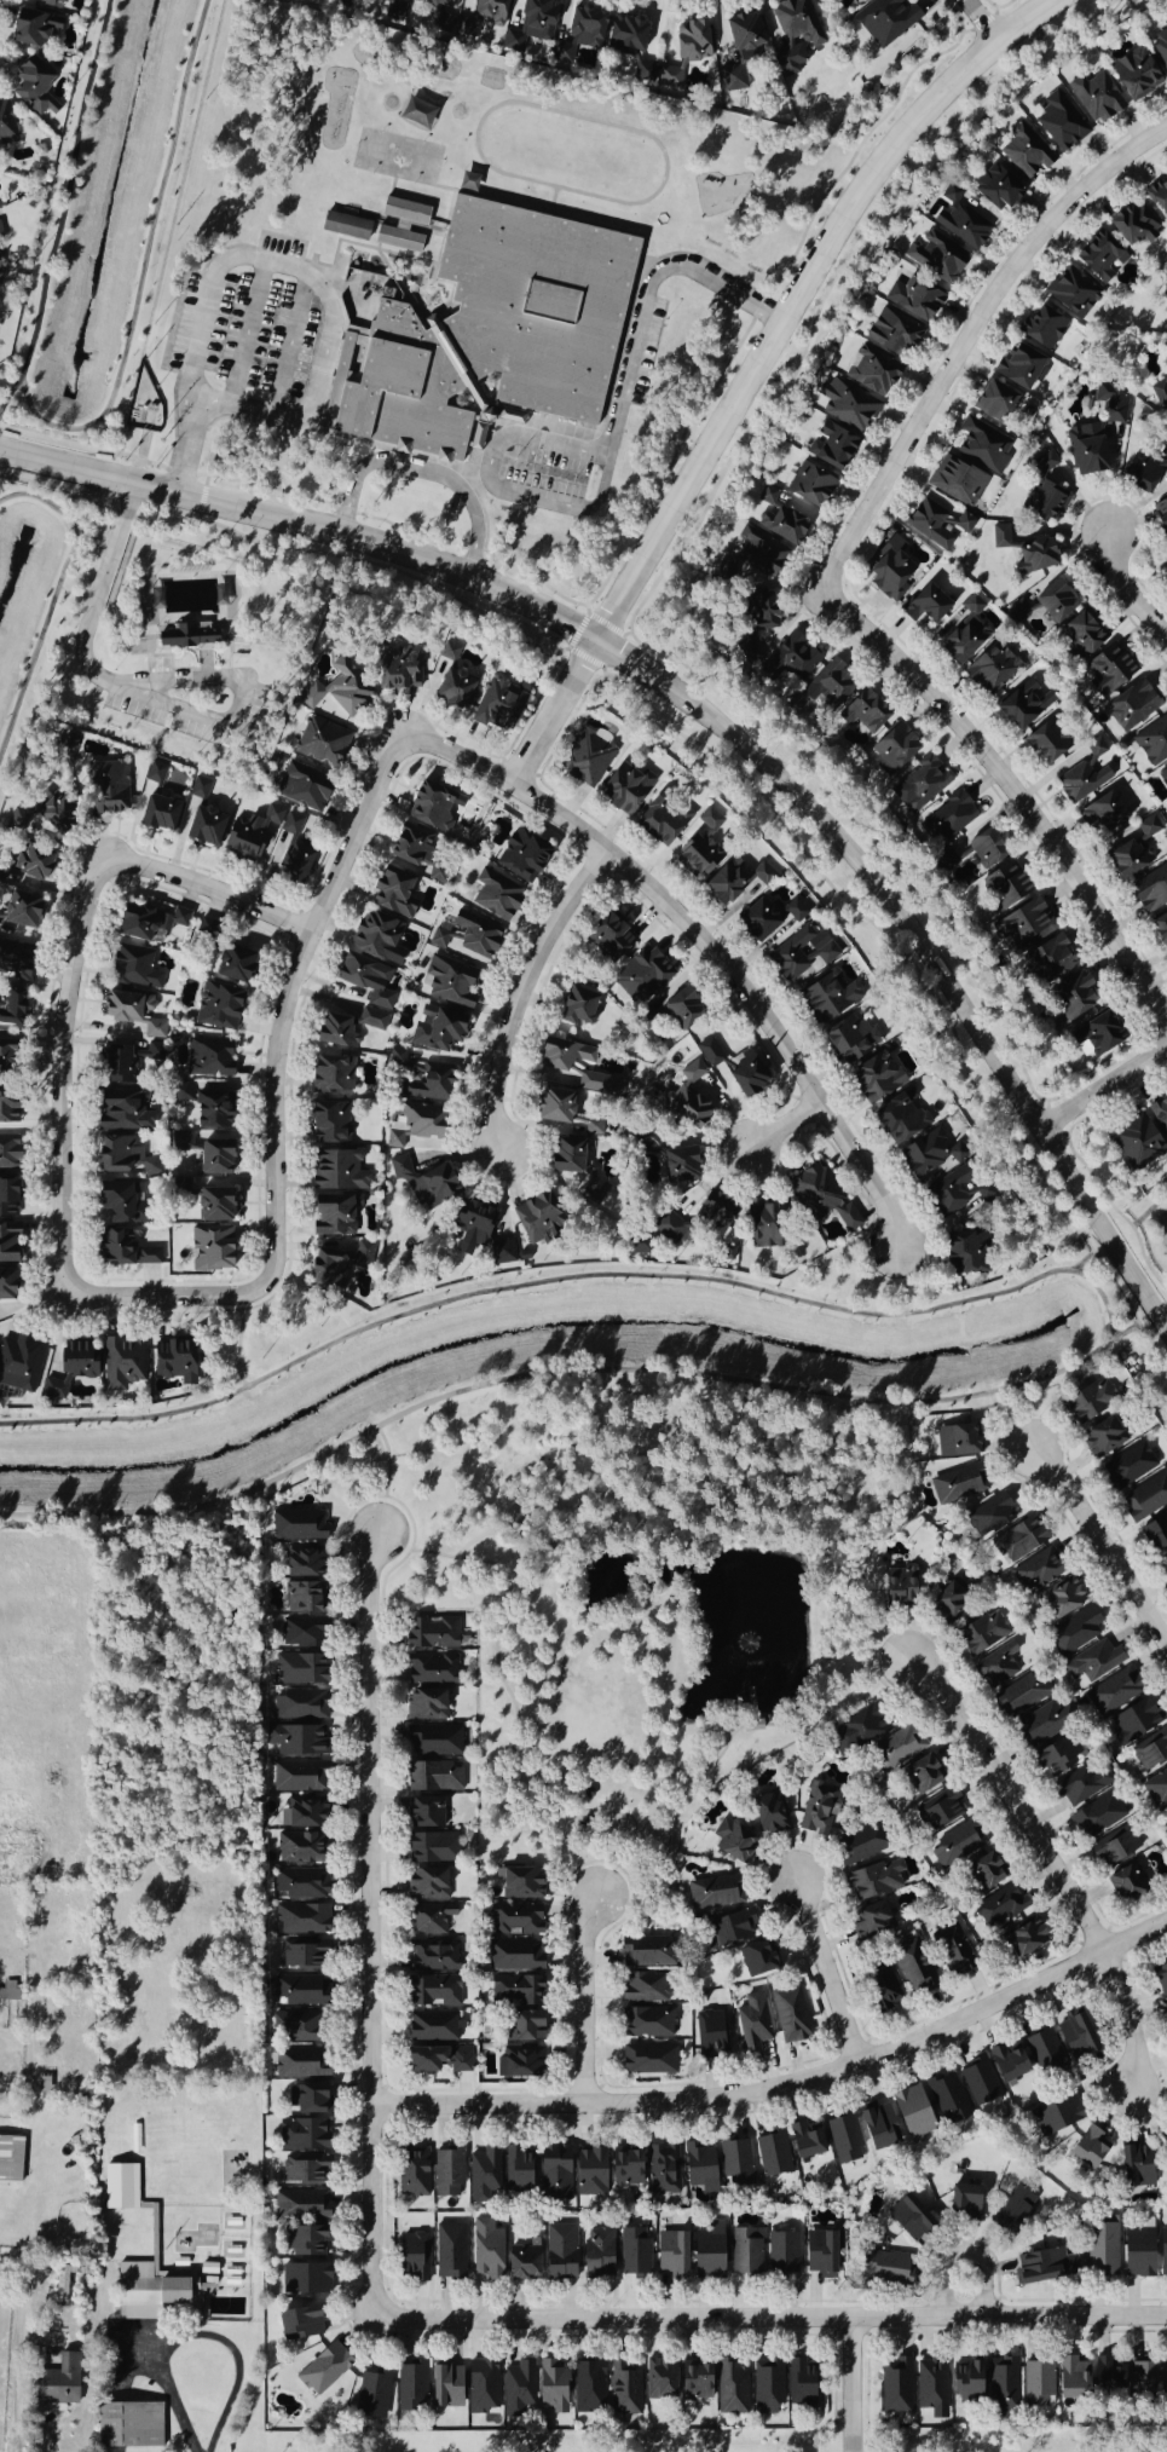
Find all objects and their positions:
building: (819, 0)
building: (837, 0)
building: (47, 2)
building: (432, 2)
building: (394, 13)
building: (480, 18)
road: (987, 18)
building: (886, 19)
building: (531, 22)
building: (443, 25)
building: (30, 27)
building: (579, 33)
building: (625, 34)
building: (744, 34)
building: (795, 34)
building: (689, 41)
building: (1161, 45)
building: (645, 74)
building: (1134, 75)
building: (669, 77)
building: (733, 80)
building: (31, 87)
building: (1096, 97)
building: (415, 114)
building: (1061, 122)
building: (6, 123)
building: (1026, 151)
building: (995, 187)
building: (1160, 198)
road: (60, 207)
road: (150, 220)
building: (960, 220)
building: (400, 225)
building: (1133, 225)
building: (343, 226)
building: (0, 233)
building: (936, 258)
building: (1100, 258)
building: (1, 266)
building: (1, 276)
road: (798, 289)
building: (1070, 292)
building: (1165, 295)
building: (913, 299)
building: (1165, 317)
road: (200, 324)
building: (1044, 329)
building: (891, 333)
road: (964, 333)
building: (484, 334)
road: (322, 353)
building: (1165, 364)
building: (1017, 367)
building: (872, 373)
building: (1160, 392)
building: (993, 402)
building: (1111, 403)
building: (847, 405)
road: (245, 412)
building: (982, 444)
building: (831, 448)
road: (608, 450)
building: (1085, 454)
building: (1045, 462)
building: (1144, 471)
road: (422, 472)
building: (955, 481)
building: (809, 486)
building: (769, 492)
building: (1045, 502)
road: (81, 510)
building: (1161, 515)
road: (129, 518)
building: (936, 525)
building: (781, 527)
building: (1000, 537)
building: (1034, 558)
building: (756, 561)
building: (889, 572)
building: (1166, 573)
road: (1125, 593)
road: (51, 596)
building: (1053, 602)
building: (972, 605)
building: (925, 606)
building: (1017, 610)
building: (757, 613)
building: (1081, 634)
park: (183, 635)
building: (186, 637)
building: (959, 645)
road: (85, 647)
building: (141, 647)
building: (751, 648)
building: (795, 658)
building: (441, 665)
building: (1108, 669)
building: (398, 670)
building: (990, 670)
road: (203, 679)
building: (830, 687)
building: (452, 691)
building: (334, 696)
building: (1024, 704)
building: (497, 705)
building: (1136, 705)
road: (554, 708)
building: (863, 712)
road: (714, 716)
building: (1152, 742)
building: (318, 743)
building: (1044, 744)
building: (894, 748)
building: (585, 760)
building: (155, 773)
building: (1084, 774)
building: (1162, 775)
building: (919, 785)
building: (300, 787)
building: (108, 789)
building: (625, 790)
road: (1010, 795)
building: (432, 808)
building: (157, 814)
building: (1102, 814)
building: (35, 817)
building: (203, 817)
building: (710, 820)
building: (947, 820)
building: (663, 824)
building: (1149, 827)
building: (259, 833)
building: (984, 849)
building: (412, 852)
building: (521, 856)
building: (697, 858)
building: (1126, 860)
building: (293, 864)
building: (22, 869)
building: (762, 875)
building: (726, 882)
building: (1004, 887)
road: (207, 892)
building: (1150, 892)
building: (391, 894)
building: (495, 895)
building: (18, 911)
building: (767, 918)
building: (146, 924)
building: (1026, 924)
building: (1160, 931)
building: (372, 935)
building: (469, 936)
building: (608, 936)
road: (700, 945)
building: (801, 952)
building: (13, 959)
building: (1050, 960)
building: (229, 963)
building: (133, 968)
building: (642, 975)
building: (366, 980)
building: (450, 981)
road: (518, 992)
building: (827, 998)
building: (1071, 999)
building: (10, 1003)
building: (578, 1005)
building: (680, 1005)
building: (218, 1006)
building: (132, 1014)
building: (372, 1020)
building: (437, 1028)
building: (336, 1029)
building: (1096, 1034)
building: (845, 1040)
building: (4, 1051)
building: (710, 1052)
building: (206, 1057)
building: (397, 1057)
building: (126, 1061)
building: (551, 1066)
building: (330, 1072)
road: (63, 1073)
building: (746, 1073)
building: (876, 1078)
building: (429, 1083)
road: (1104, 1086)
building: (688, 1097)
road: (270, 1098)
building: (553, 1106)
building: (7, 1107)
building: (204, 1107)
building: (122, 1114)
building: (1160, 1114)
building: (900, 1120)
building: (329, 1123)
road: (784, 1125)
building: (416, 1127)
building: (1136, 1141)
building: (8, 1153)
building: (928, 1153)
building: (123, 1155)
building: (565, 1155)
building: (678, 1162)
building: (337, 1171)
building: (424, 1183)
building: (955, 1192)
building: (6, 1194)
building: (824, 1198)
building: (120, 1201)
building: (213, 1205)
road: (1149, 1208)
building: (712, 1213)
building: (331, 1215)
building: (536, 1217)
building: (472, 1222)
building: (761, 1224)
building: (669, 1229)
building: (7, 1242)
building: (210, 1248)
building: (122, 1250)
building: (502, 1251)
building: (964, 1252)
building: (726, 1253)
building: (335, 1264)
road: (1079, 1264)
road: (570, 1280)
building: (5, 1283)
road: (901, 1285)
road: (237, 1343)
building: (174, 1361)
building: (19, 1363)
building: (121, 1363)
building: (69, 1368)
road: (564, 1374)
building: (1087, 1400)
road: (1007, 1419)
building: (1103, 1436)
building: (955, 1441)
building: (1128, 1466)
road: (386, 1479)
building: (954, 1485)
building: (1145, 1498)
building: (990, 1516)
building: (296, 1524)
building: (1155, 1531)
building: (1018, 1540)
road: (1098, 1548)
building: (300, 1562)
building: (1165, 1562)
building: (1036, 1571)
park: (635, 1586)
building: (897, 1587)
building: (300, 1597)
building: (1063, 1597)
building: (947, 1602)
building: (297, 1632)
building: (981, 1632)
building: (1075, 1632)
building: (431, 1633)
building: (1093, 1663)
building: (996, 1667)
building: (297, 1669)
building: (432, 1669)
building: (1114, 1691)
building: (1022, 1696)
building: (426, 1704)
building: (299, 1706)
building: (1134, 1719)
building: (1042, 1723)
building: (857, 1731)
building: (296, 1741)
building: (433, 1741)
building: (896, 1748)
building: (1151, 1752)
building: (1053, 1756)
building: (920, 1776)
building: (294, 1777)
building: (433, 1777)
building: (1082, 1784)
building: (1156, 1788)
building: (818, 1811)
building: (938, 1811)
building: (302, 1812)
building: (424, 1813)
building: (769, 1815)
building: (1098, 1816)
building: (730, 1842)
building: (856, 1845)
building: (954, 1845)
building: (1114, 1847)
building: (296, 1848)
building: (431, 1848)
road: (1041, 1860)
building: (982, 1874)
building: (873, 1879)
building: (1126, 1882)
building: (426, 1883)
building: (520, 1883)
building: (300, 1885)
building: (714, 1893)
building: (1001, 1905)
building: (300, 1919)
building: (429, 1919)
building: (514, 1920)
building: (868, 1921)
road: (369, 1928)
building: (732, 1928)
building: (1021, 1938)
building: (949, 1950)
building: (645, 1952)
building: (301, 1955)
building: (513, 1955)
building: (432, 1956)
building: (756, 1958)
road: (825, 1968)
building: (911, 1969)
building: (1161, 1978)
building: (883, 1987)
building: (643, 1989)
building: (300, 1991)
building: (433, 1991)
building: (514, 1991)
road: (584, 1997)
building: (1166, 2008)
building: (788, 2014)
building: (646, 2023)
building: (751, 2023)
building: (295, 2026)
building: (432, 2026)
building: (521, 2026)
building: (710, 2033)
building: (1070, 2037)
building: (1041, 2052)
building: (437, 2060)
building: (648, 2060)
building: (1006, 2062)
building: (297, 2064)
building: (516, 2064)
building: (978, 2081)
building: (45, 2083)
road: (785, 2085)
building: (946, 2095)
building: (310, 2099)
building: (911, 2112)
building: (1058, 2113)
building: (877, 2125)
building: (302, 2135)
building: (135, 2137)
building: (844, 2139)
building: (804, 2140)
building: (1165, 2141)
building: (1087, 2148)
building: (772, 2154)
building: (11, 2159)
building: (735, 2162)
building: (1136, 2165)
building: (624, 2168)
building: (699, 2168)
building: (516, 2169)
building: (304, 2171)
building: (663, 2171)
building: (412, 2173)
building: (447, 2173)
building: (554, 2173)
building: (589, 2173)
building: (483, 2174)
building: (122, 2186)
building: (964, 2203)
building: (300, 2205)
building: (1012, 2210)
building: (911, 2216)
building: (233, 2221)
building: (880, 2238)
building: (302, 2242)
building: (233, 2249)
road: (961, 2250)
building: (1100, 2250)
building: (1161, 2250)
building: (449, 2251)
building: (486, 2251)
building: (745, 2251)
building: (559, 2252)
building: (707, 2252)
building: (632, 2254)
building: (670, 2254)
building: (781, 2254)
building: (1136, 2254)
building: (596, 2255)
building: (819, 2256)
building: (414, 2257)
building: (181, 2261)
building: (521, 2263)
building: (882, 2267)
building: (1044, 2267)
building: (209, 2268)
building: (305, 2279)
building: (232, 2280)
building: (58, 2287)
building: (149, 2292)
road: (770, 2321)
building: (300, 2324)
road: (133, 2348)
road: (163, 2359)
building: (325, 2367)
building: (1166, 2370)
building: (1107, 2376)
building: (57, 2378)
building: (1071, 2379)
building: (658, 2381)
building: (694, 2381)
building: (799, 2382)
building: (1144, 2382)
building: (965, 2383)
building: (1003, 2383)
building: (551, 2385)
building: (896, 2385)
building: (1036, 2385)
building: (410, 2387)
building: (481, 2387)
building: (730, 2387)
road: (849, 2387)
building: (444, 2388)
building: (518, 2388)
building: (589, 2388)
building: (767, 2388)
building: (931, 2388)
building: (623, 2390)
building: (375, 2392)
road: (229, 2404)
road: (19, 2415)
building: (131, 2427)

